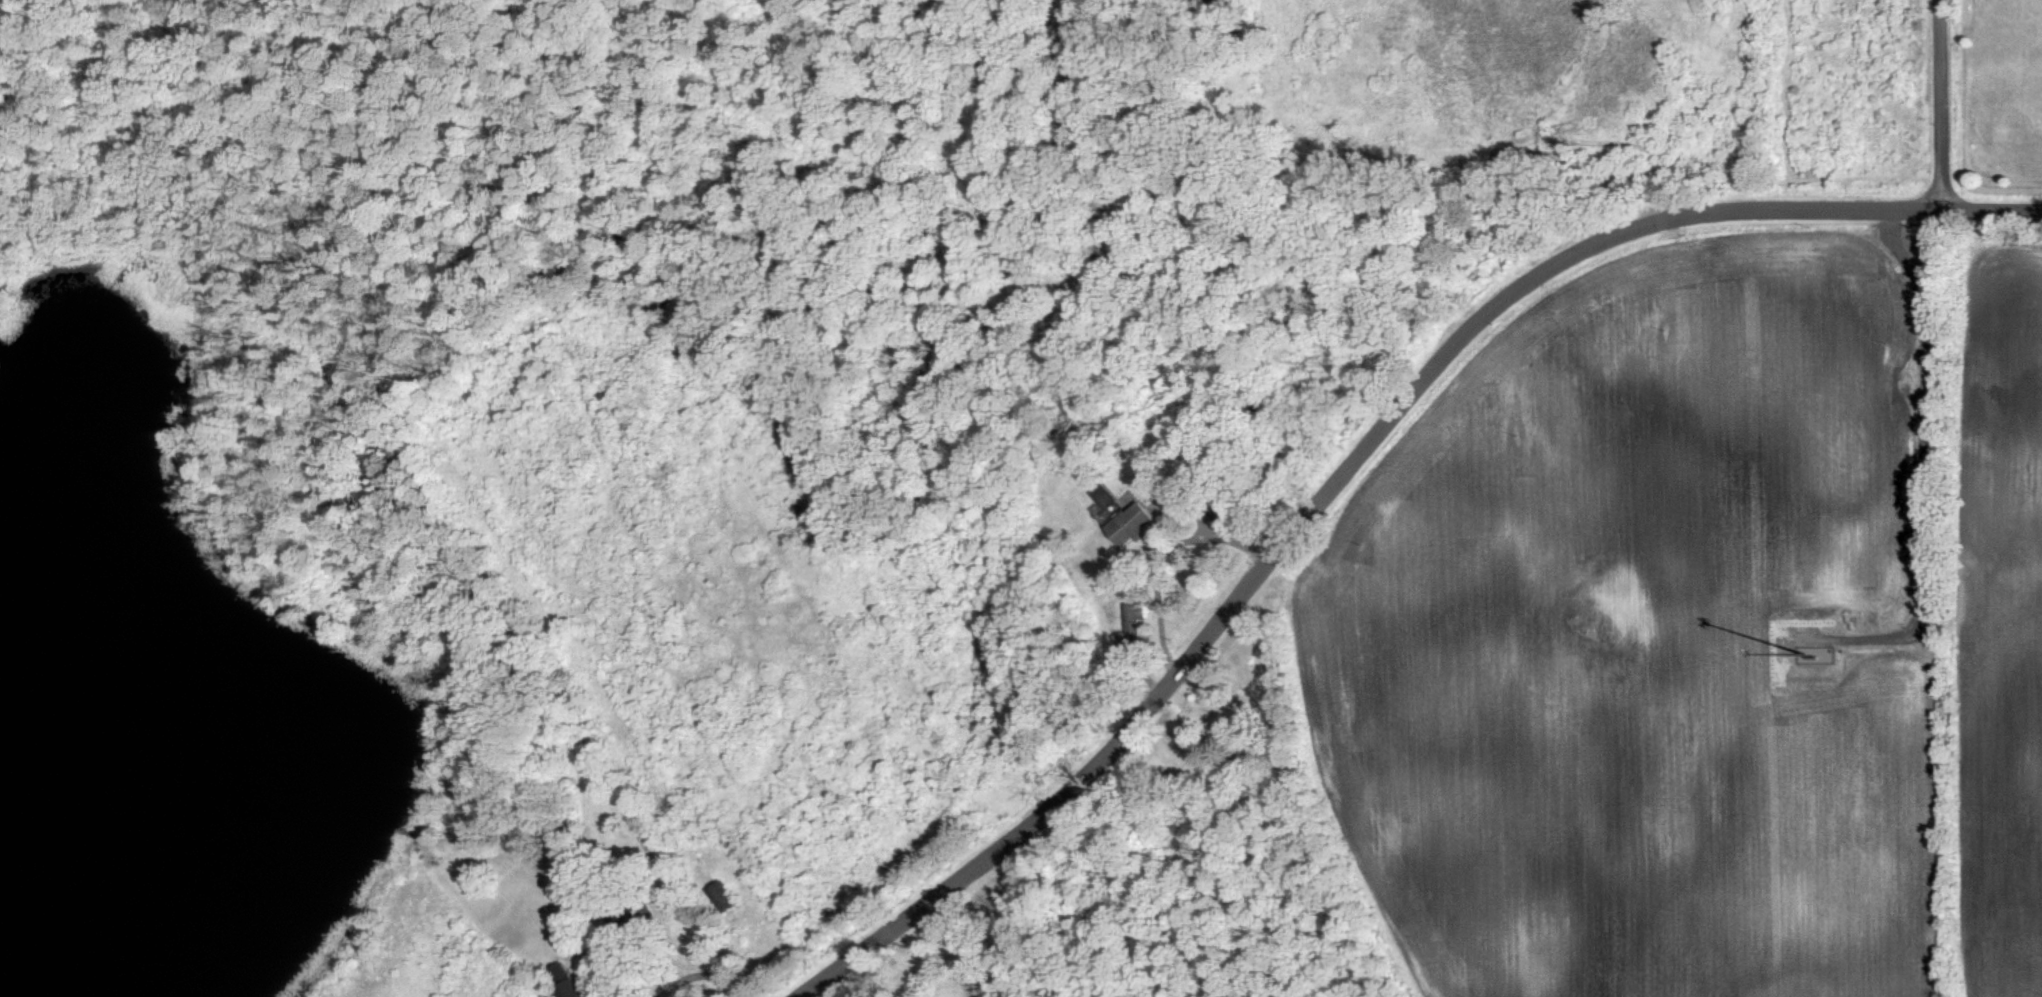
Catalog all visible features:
road: (1939, 102)
road: (1351, 458)
building: (1127, 523)
building: (1127, 627)
building: (713, 895)
building: (548, 971)
road: (601, 973)
road: (689, 975)
building: (560, 988)

